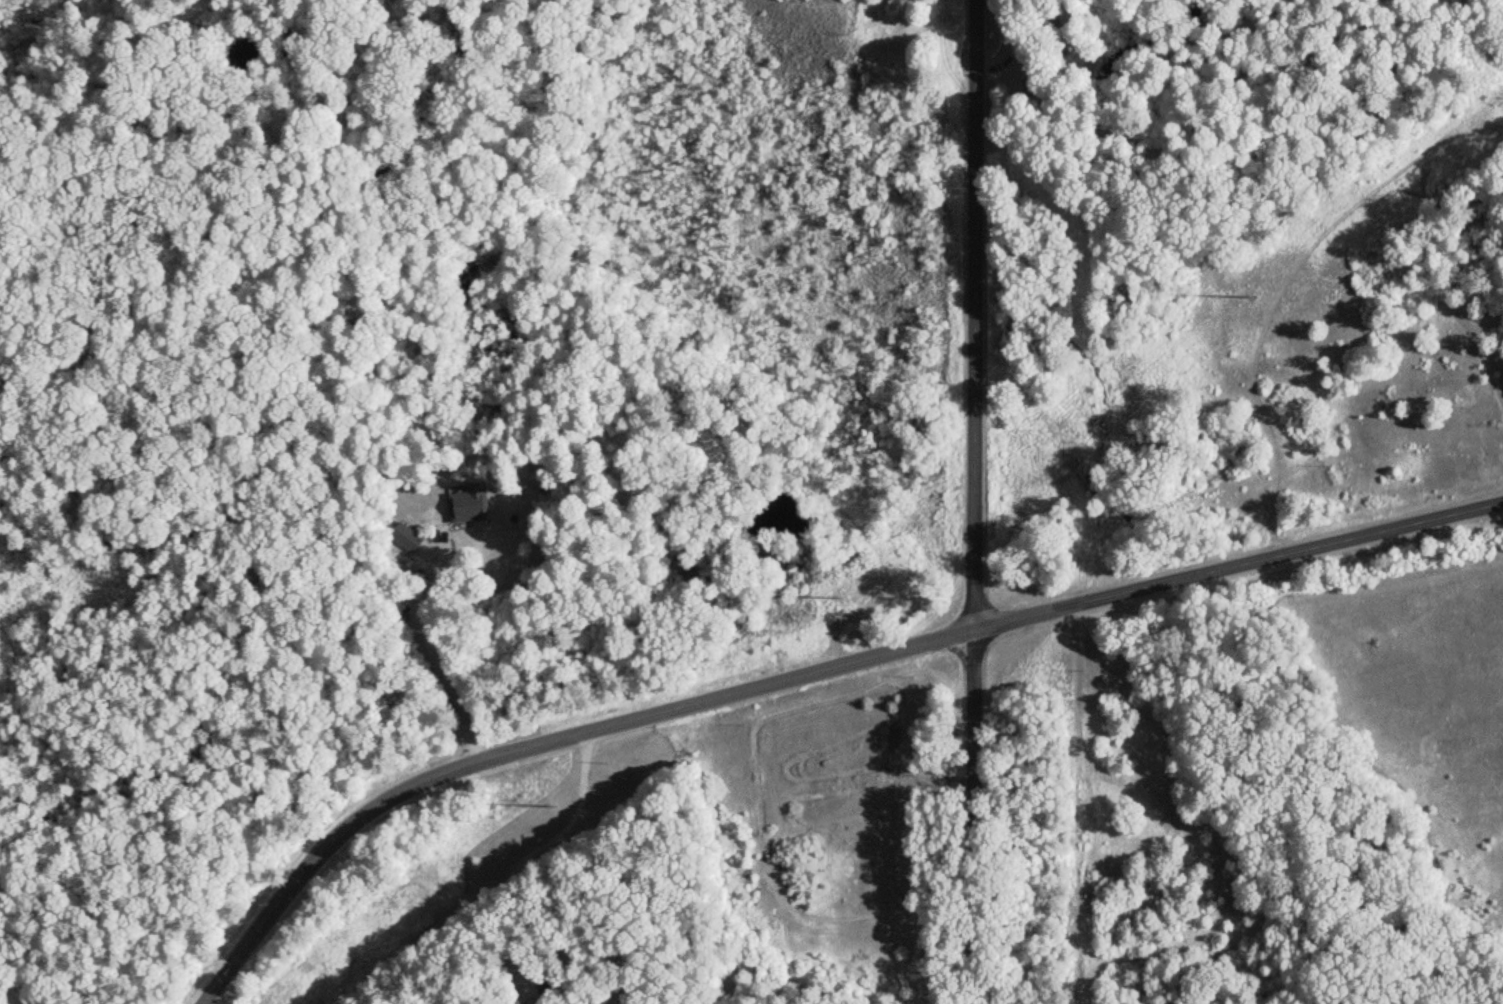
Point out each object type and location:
power tower: (1251, 297)
road: (967, 501)
power tower: (845, 596)
road: (425, 629)
road: (803, 672)
power tower: (553, 805)
road: (518, 865)

